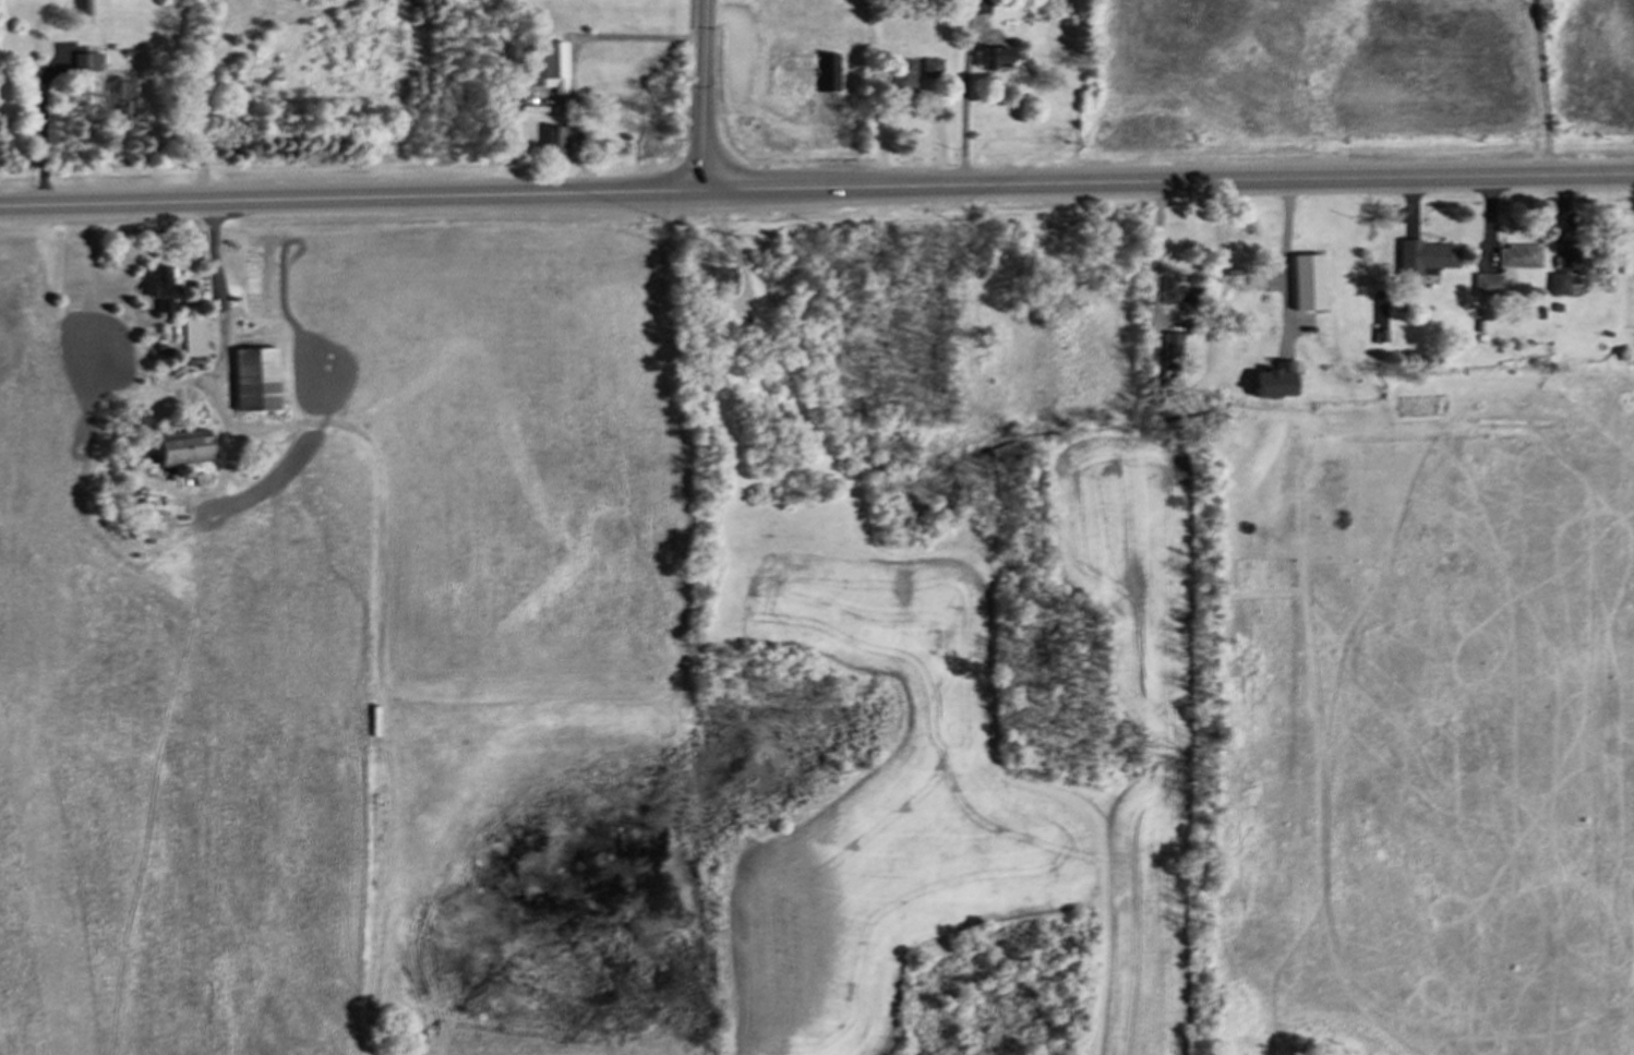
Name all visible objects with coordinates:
building: (85, 7)
building: (976, 7)
road: (572, 50)
building: (996, 57)
building: (85, 61)
building: (552, 64)
building: (930, 67)
building: (533, 69)
building: (827, 71)
building: (902, 74)
crop: (1360, 81)
road: (701, 94)
building: (120, 97)
building: (553, 140)
road: (1165, 180)
road: (348, 196)
building: (1518, 255)
road: (1156, 256)
building: (1425, 256)
road: (1285, 261)
building: (1578, 262)
building: (721, 278)
building: (1307, 280)
building: (1558, 283)
building: (1487, 284)
building: (163, 289)
road: (217, 289)
building: (1174, 291)
building: (193, 335)
building: (1170, 347)
building: (255, 377)
building: (1274, 380)
building: (181, 446)
crop: (310, 620)
crop: (990, 768)

